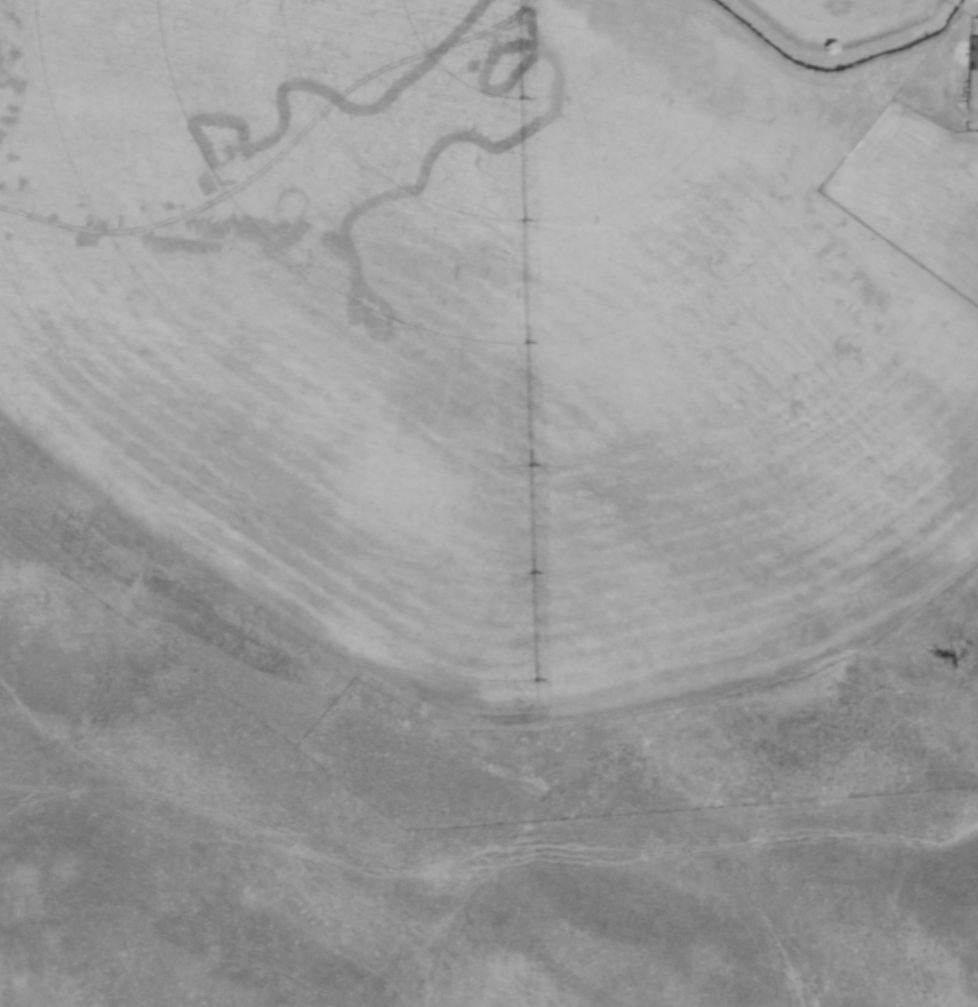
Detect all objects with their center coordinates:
building: (974, 51)

